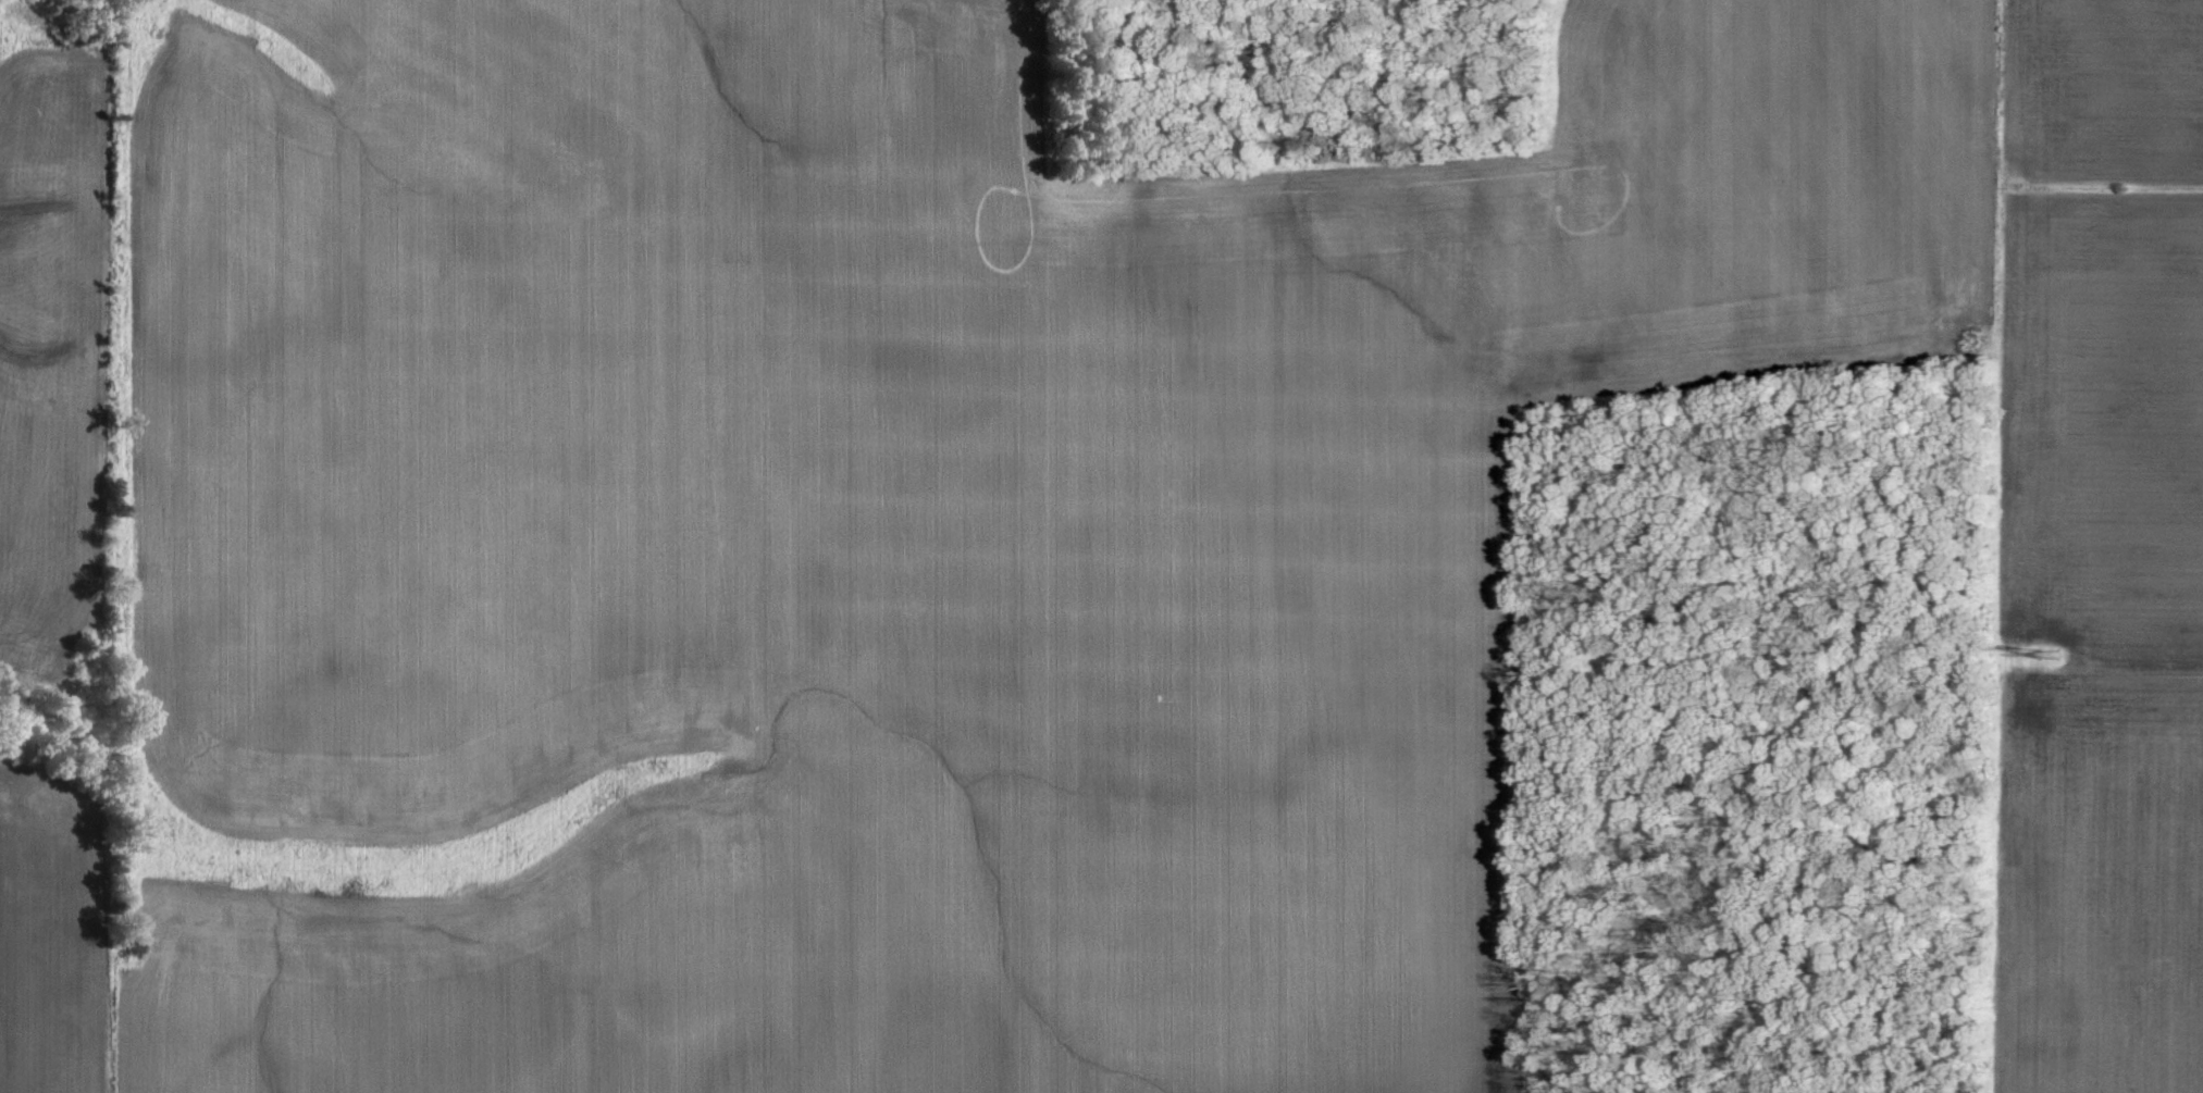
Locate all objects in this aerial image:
power tower: (2050, 656)

